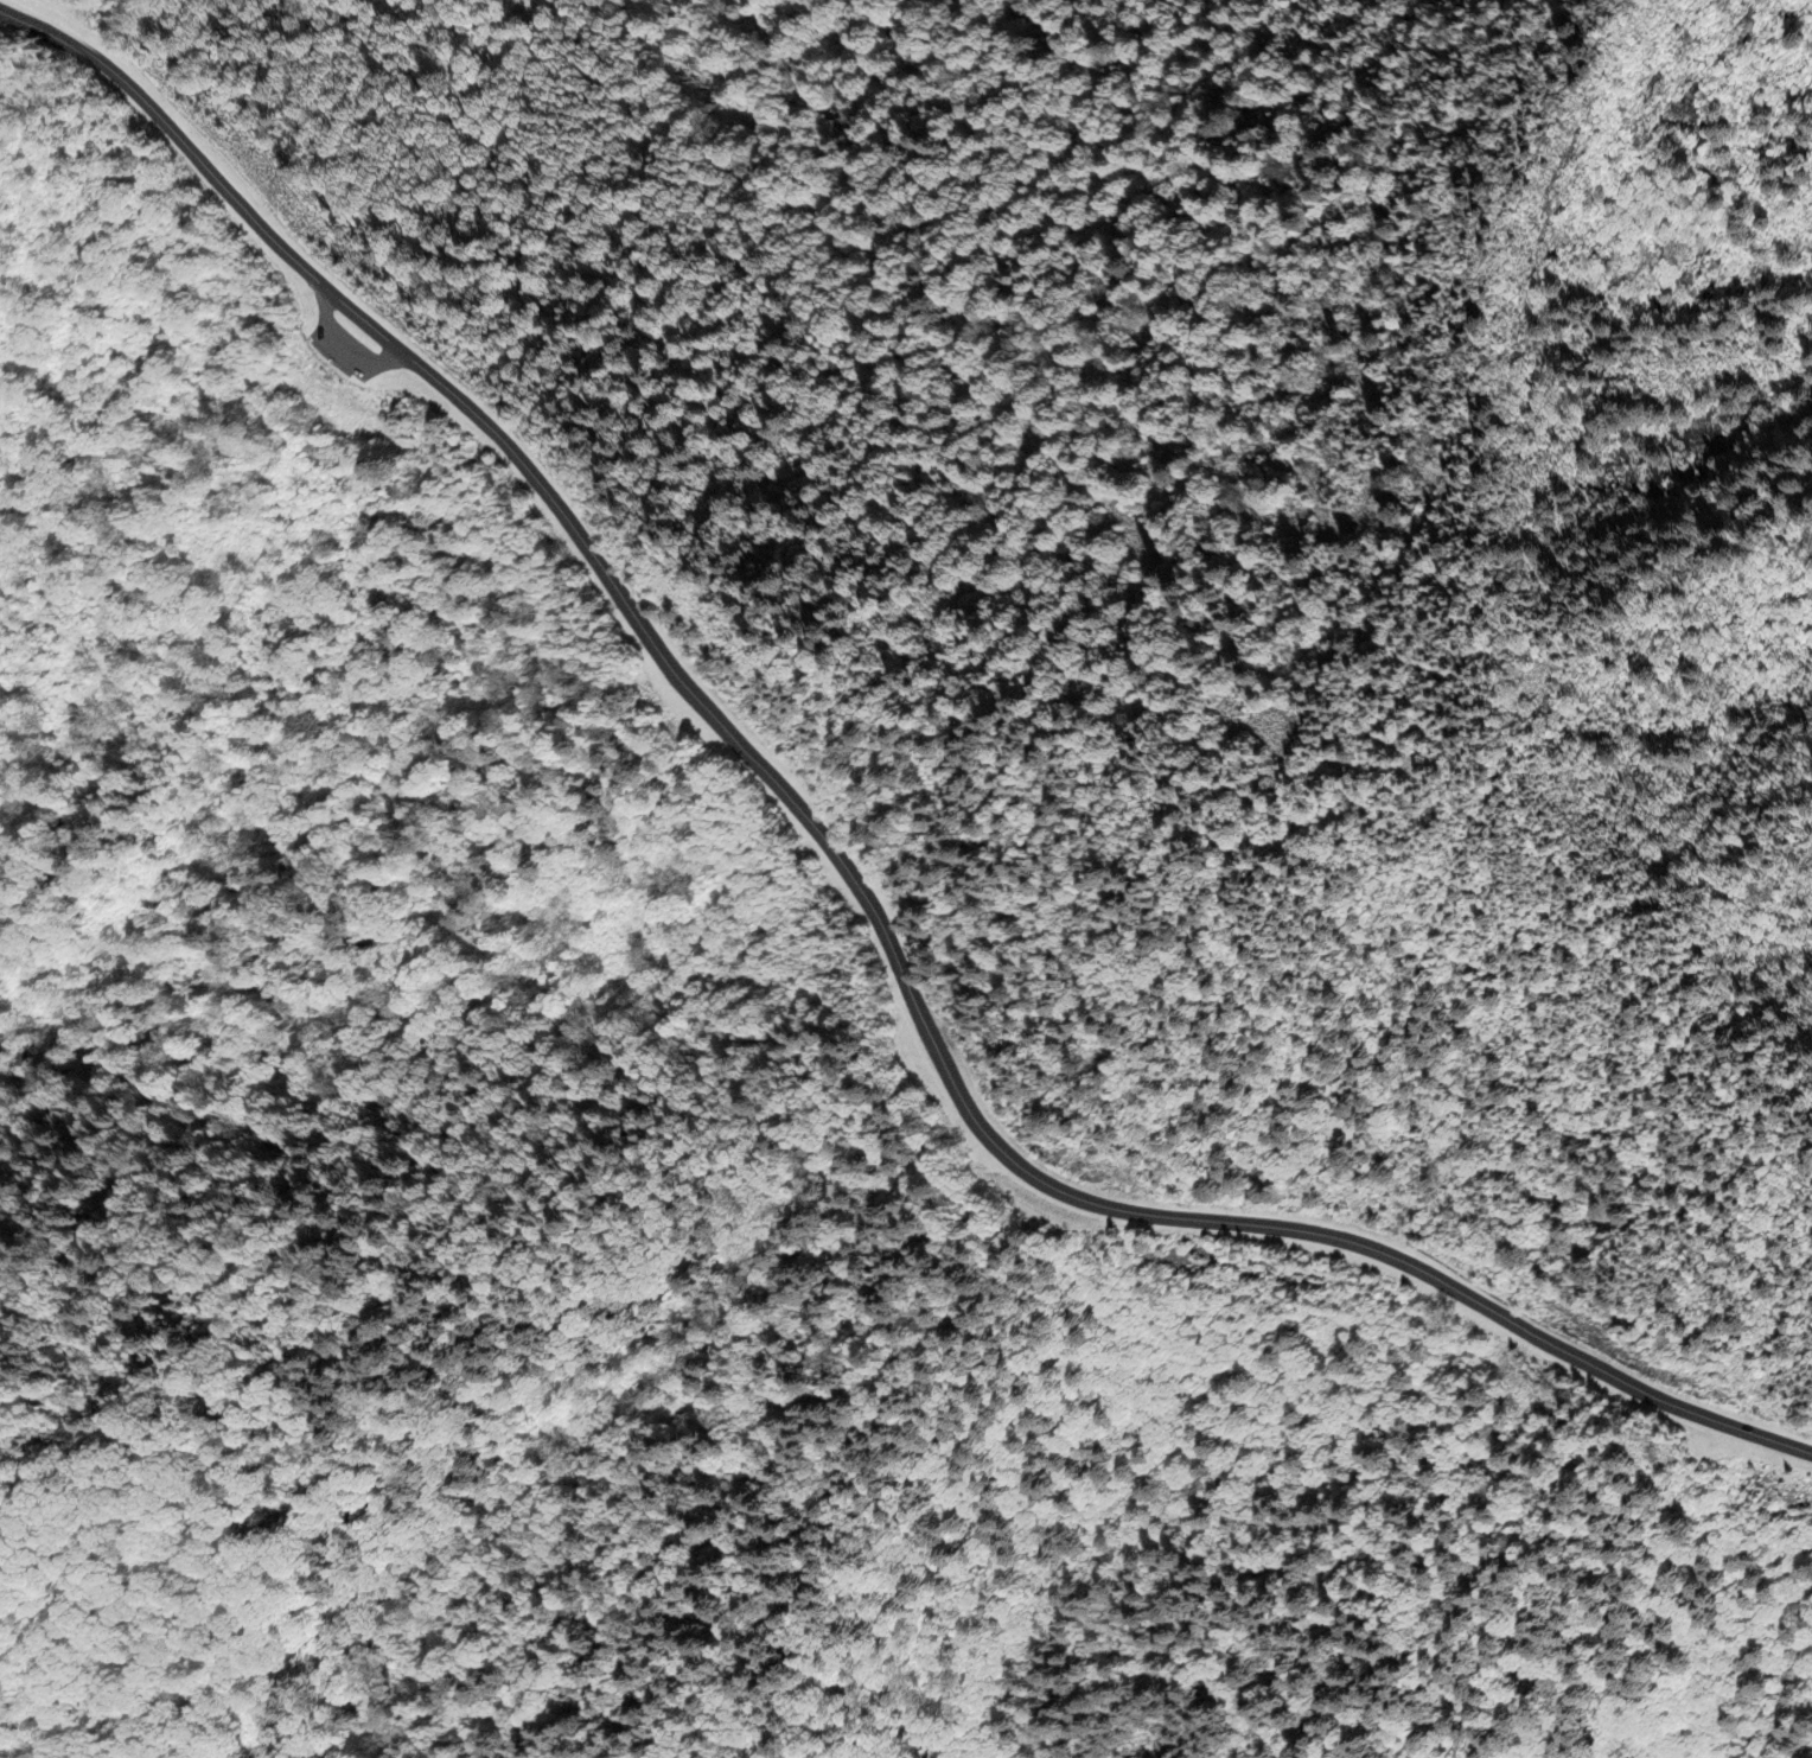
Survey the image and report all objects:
road: (5, 8)
road: (342, 344)
road: (844, 868)
road: (222, 1643)
road: (939, 1675)

